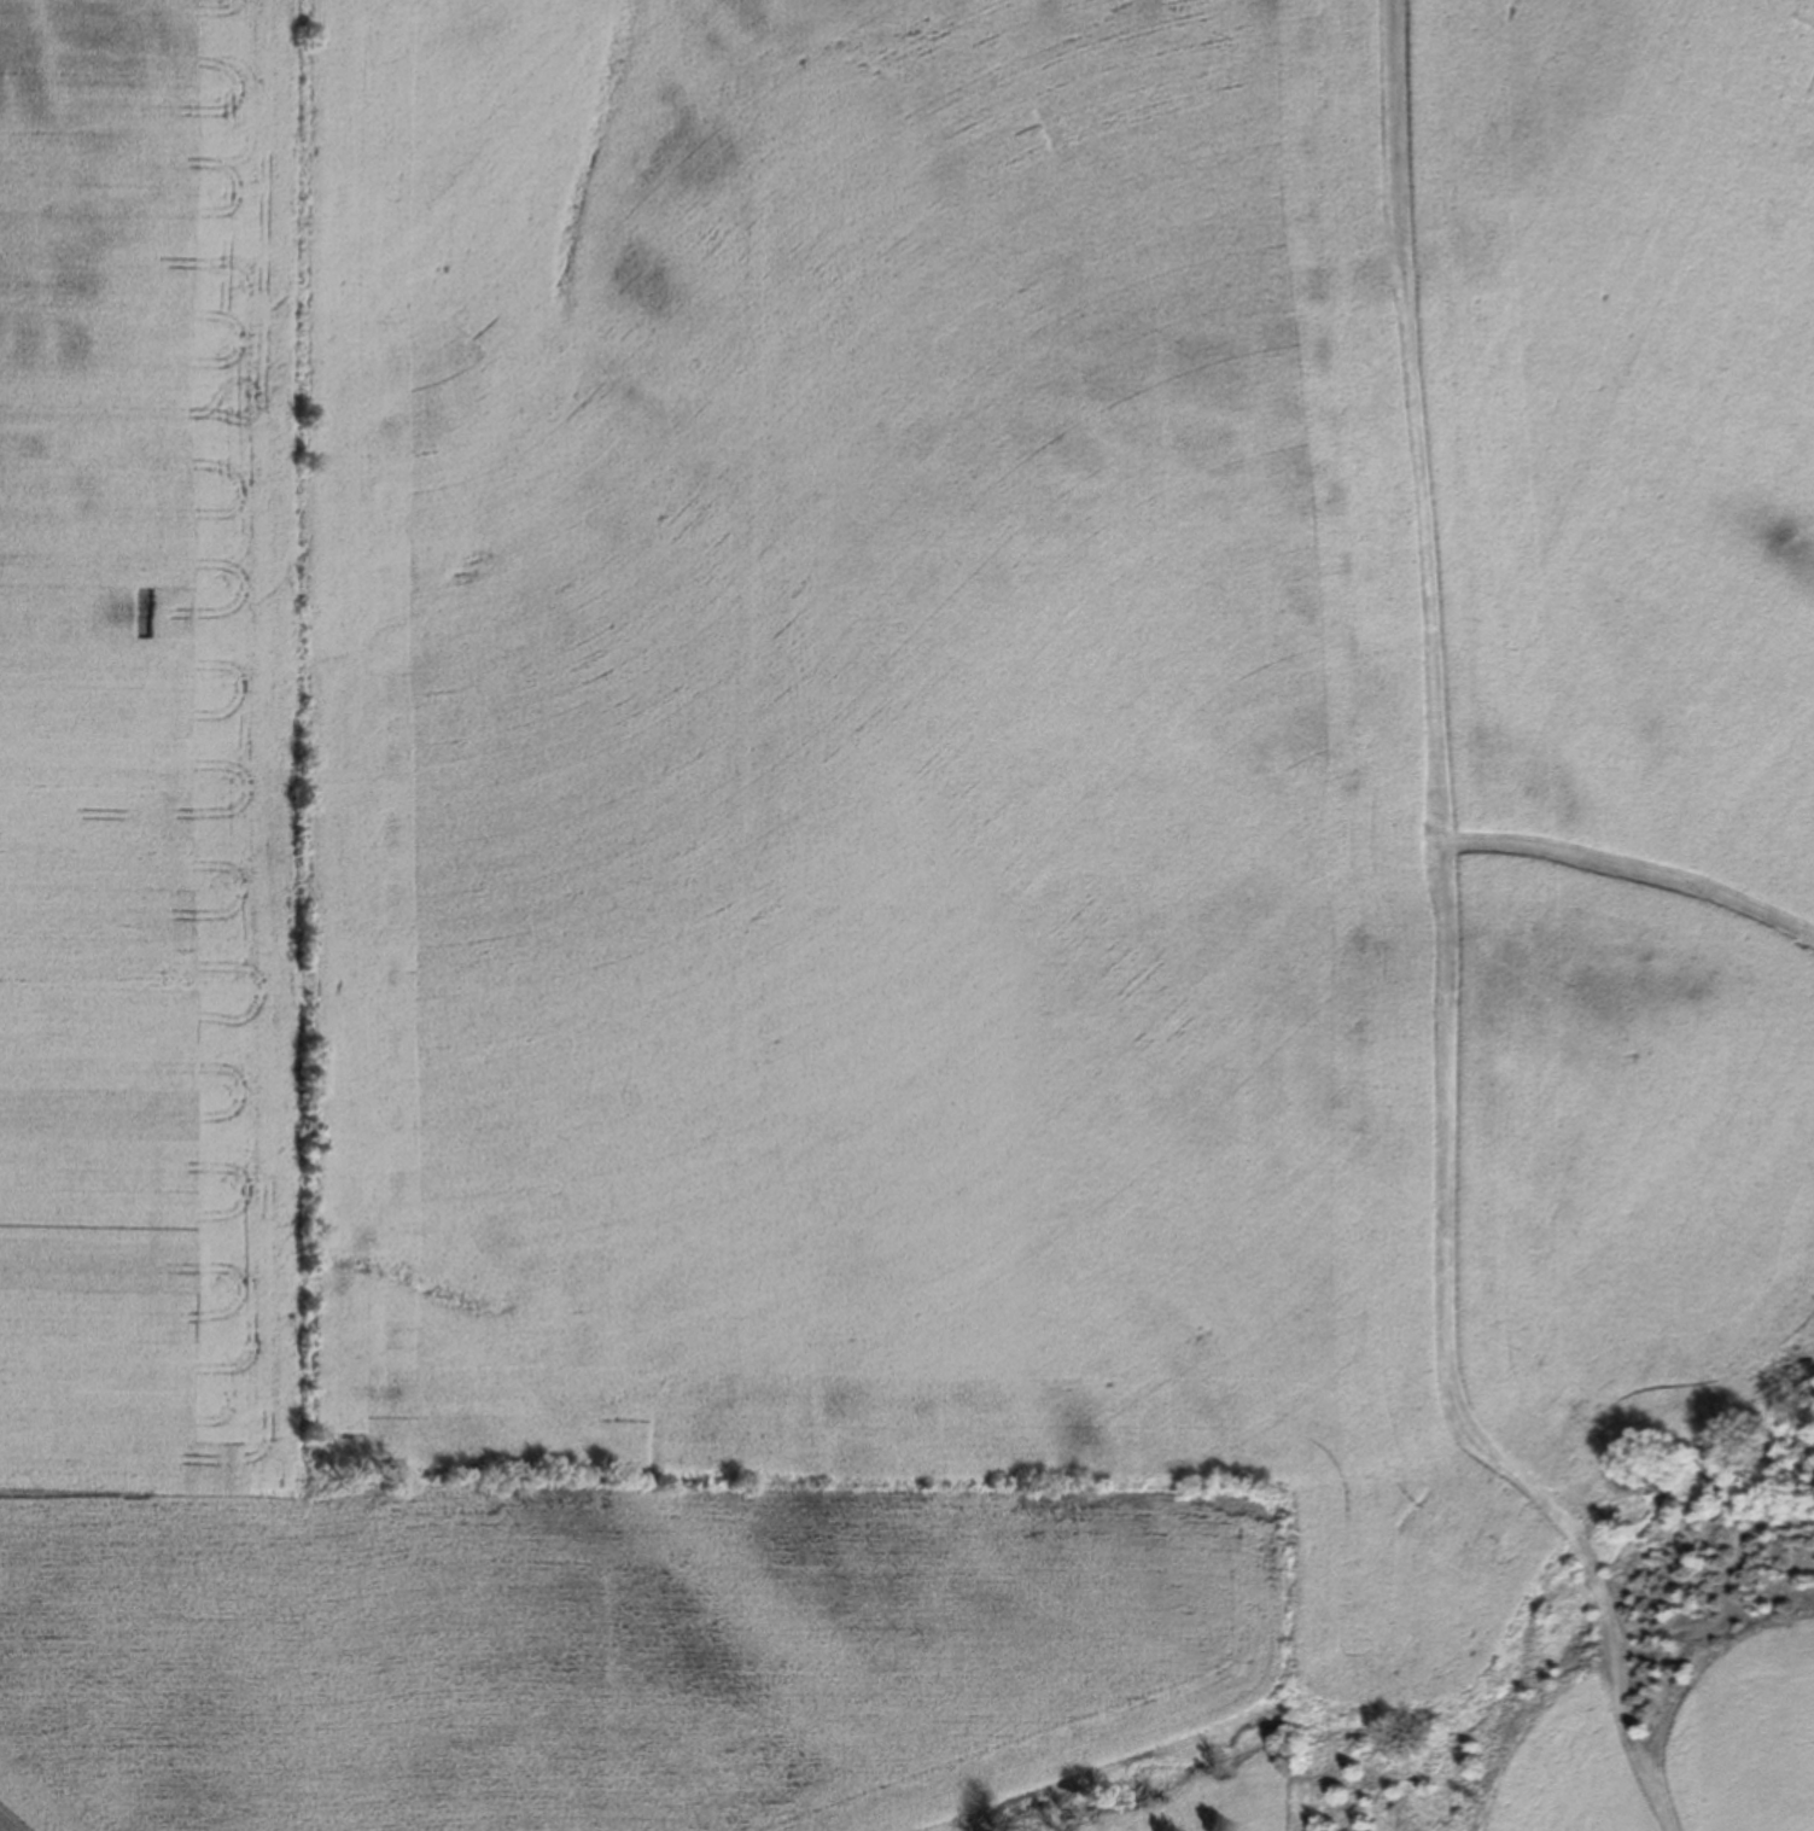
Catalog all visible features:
road: (1446, 960)

